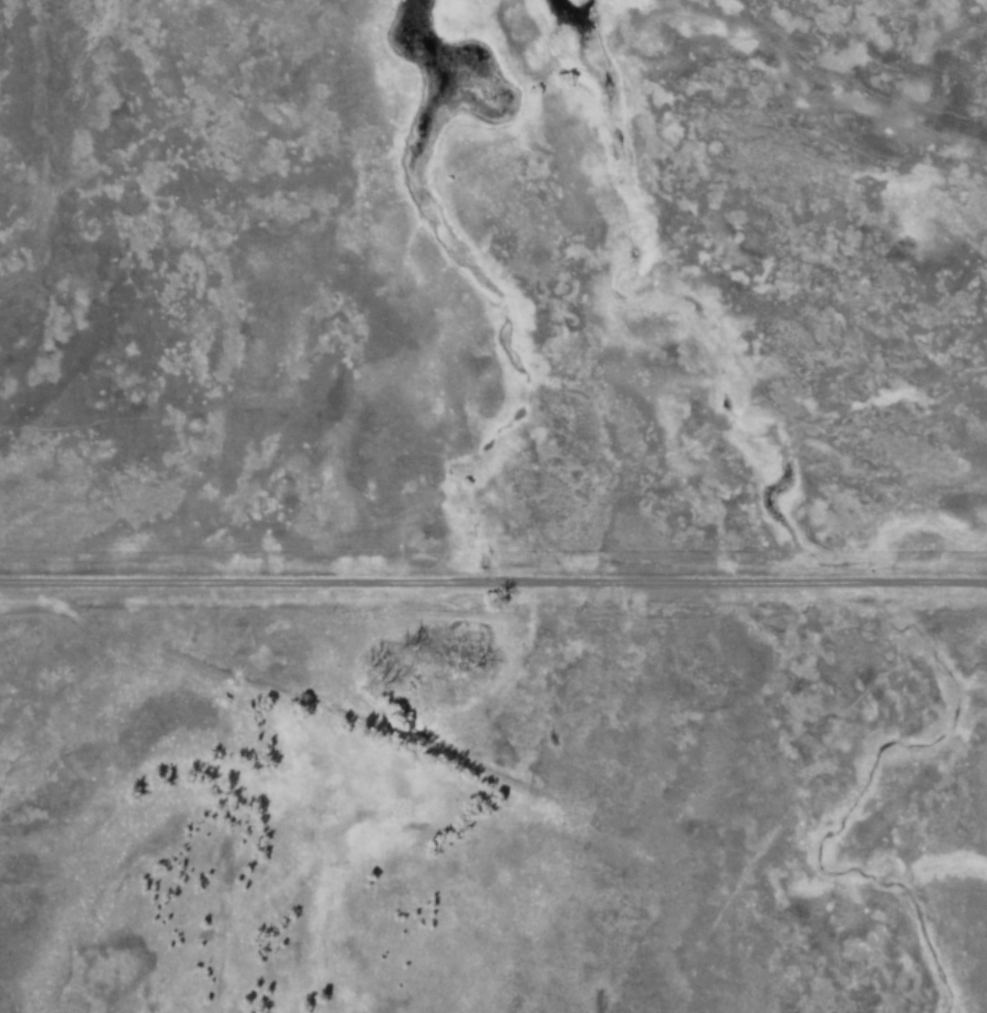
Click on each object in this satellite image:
road: (493, 584)
dam: (378, 738)

